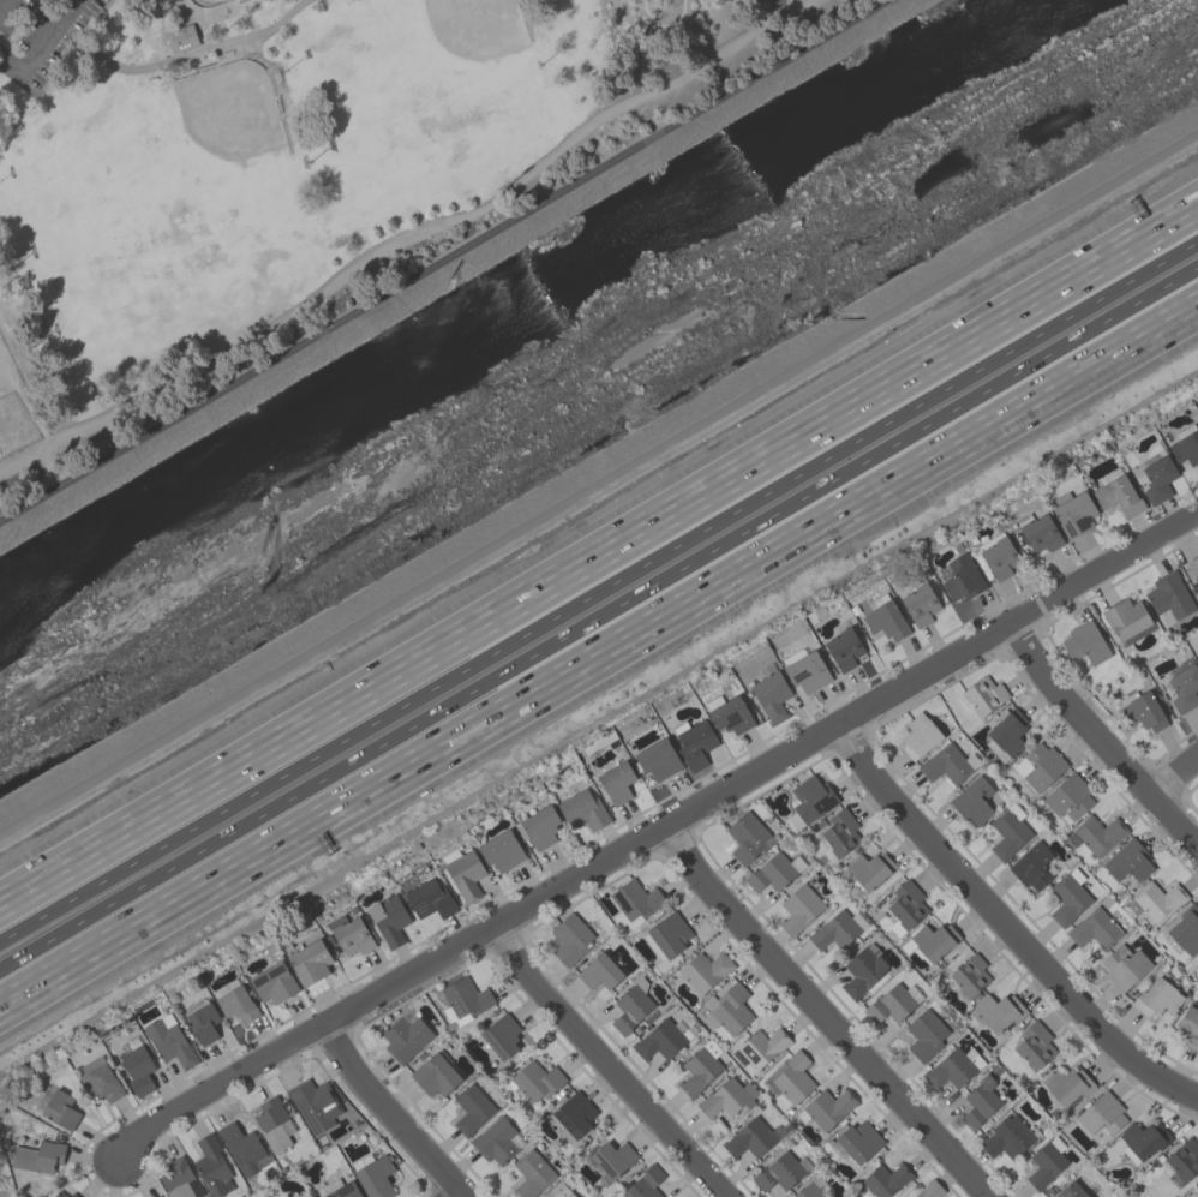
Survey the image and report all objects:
park: (206, 1)
road: (777, 2)
road: (4, 5)
road: (218, 5)
road: (187, 10)
road: (179, 12)
road: (218, 17)
park: (478, 26)
road: (787, 26)
road: (166, 30)
road: (202, 34)
building: (182, 41)
road: (41, 47)
road: (71, 49)
road: (214, 56)
road: (236, 56)
road: (182, 59)
road: (278, 71)
road: (271, 78)
park: (229, 110)
park: (293, 169)
road: (408, 235)
road: (449, 262)
river: (570, 334)
road: (43, 435)
building: (1185, 444)
building: (1157, 479)
road: (598, 483)
building: (1118, 496)
building: (1072, 513)
building: (1038, 532)
building: (998, 556)
road: (599, 558)
building: (1192, 567)
building: (960, 576)
road: (598, 589)
building: (1168, 597)
building: (918, 604)
building: (885, 617)
road: (598, 618)
building: (1126, 620)
building: (1085, 642)
building: (843, 648)
building: (1197, 652)
road: (600, 658)
building: (807, 671)
building: (1185, 688)
building: (983, 694)
building: (771, 696)
building: (1143, 712)
building: (727, 713)
building: (1005, 734)
building: (920, 735)
road: (1101, 736)
building: (694, 742)
building: (658, 759)
building: (945, 764)
building: (1038, 766)
road: (1172, 767)
building: (616, 782)
building: (1068, 797)
building: (810, 798)
building: (972, 801)
building: (582, 809)
building: (539, 825)
building: (1008, 831)
building: (840, 832)
road: (654, 833)
building: (1098, 833)
building: (745, 837)
building: (501, 850)
building: (1128, 861)
building: (1031, 867)
building: (868, 870)
building: (463, 872)
building: (773, 872)
building: (1068, 896)
building: (430, 899)
building: (1156, 899)
building: (634, 902)
building: (799, 906)
building: (905, 906)
building: (388, 920)
road: (1004, 922)
building: (837, 928)
building: (1094, 928)
building: (1186, 929)
building: (351, 934)
building: (669, 934)
building: (570, 938)
building: (930, 941)
building: (307, 959)
building: (1124, 966)
building: (705, 970)
building: (862, 970)
building: (599, 971)
building: (969, 975)
building: (274, 983)
building: (1156, 996)
building: (463, 1000)
building: (892, 1003)
building: (236, 1004)
building: (631, 1006)
building: (727, 1009)
building: (996, 1011)
road: (825, 1015)
building: (200, 1019)
building: (1190, 1028)
building: (924, 1034)
building: (501, 1035)
building: (405, 1036)
building: (168, 1040)
building: (659, 1040)
building: (1035, 1045)
building: (760, 1047)
road: (606, 1065)
building: (137, 1067)
building: (699, 1067)
building: (954, 1067)
building: (436, 1073)
building: (792, 1077)
building: (98, 1078)
building: (534, 1081)
building: (1066, 1084)
building: (726, 1097)
building: (313, 1103)
building: (978, 1103)
building: (827, 1107)
building: (472, 1108)
building: (60, 1109)
road: (391, 1113)
building: (1102, 1113)
building: (573, 1118)
building: (274, 1124)
building: (1007, 1137)
building: (749, 1138)
building: (1142, 1139)
building: (496, 1141)
building: (855, 1141)
building: (241, 1147)
building: (38, 1156)
building: (612, 1157)
building: (1046, 1162)
building: (1182, 1162)
building: (211, 1165)
building: (779, 1171)
building: (531, 1173)
building: (376, 1177)
building: (178, 1179)
building: (885, 1179)
building: (645, 1183)
building: (1197, 1184)
building: (810, 1187)
building: (559, 1189)
building: (1197, 1189)
building: (343, 1190)
building: (929, 1190)
building: (1071, 1190)
building: (64, 1193)
road: (460, 1193)
building: (40, 1196)
building: (161, 1196)
building: (1197, 1196)

